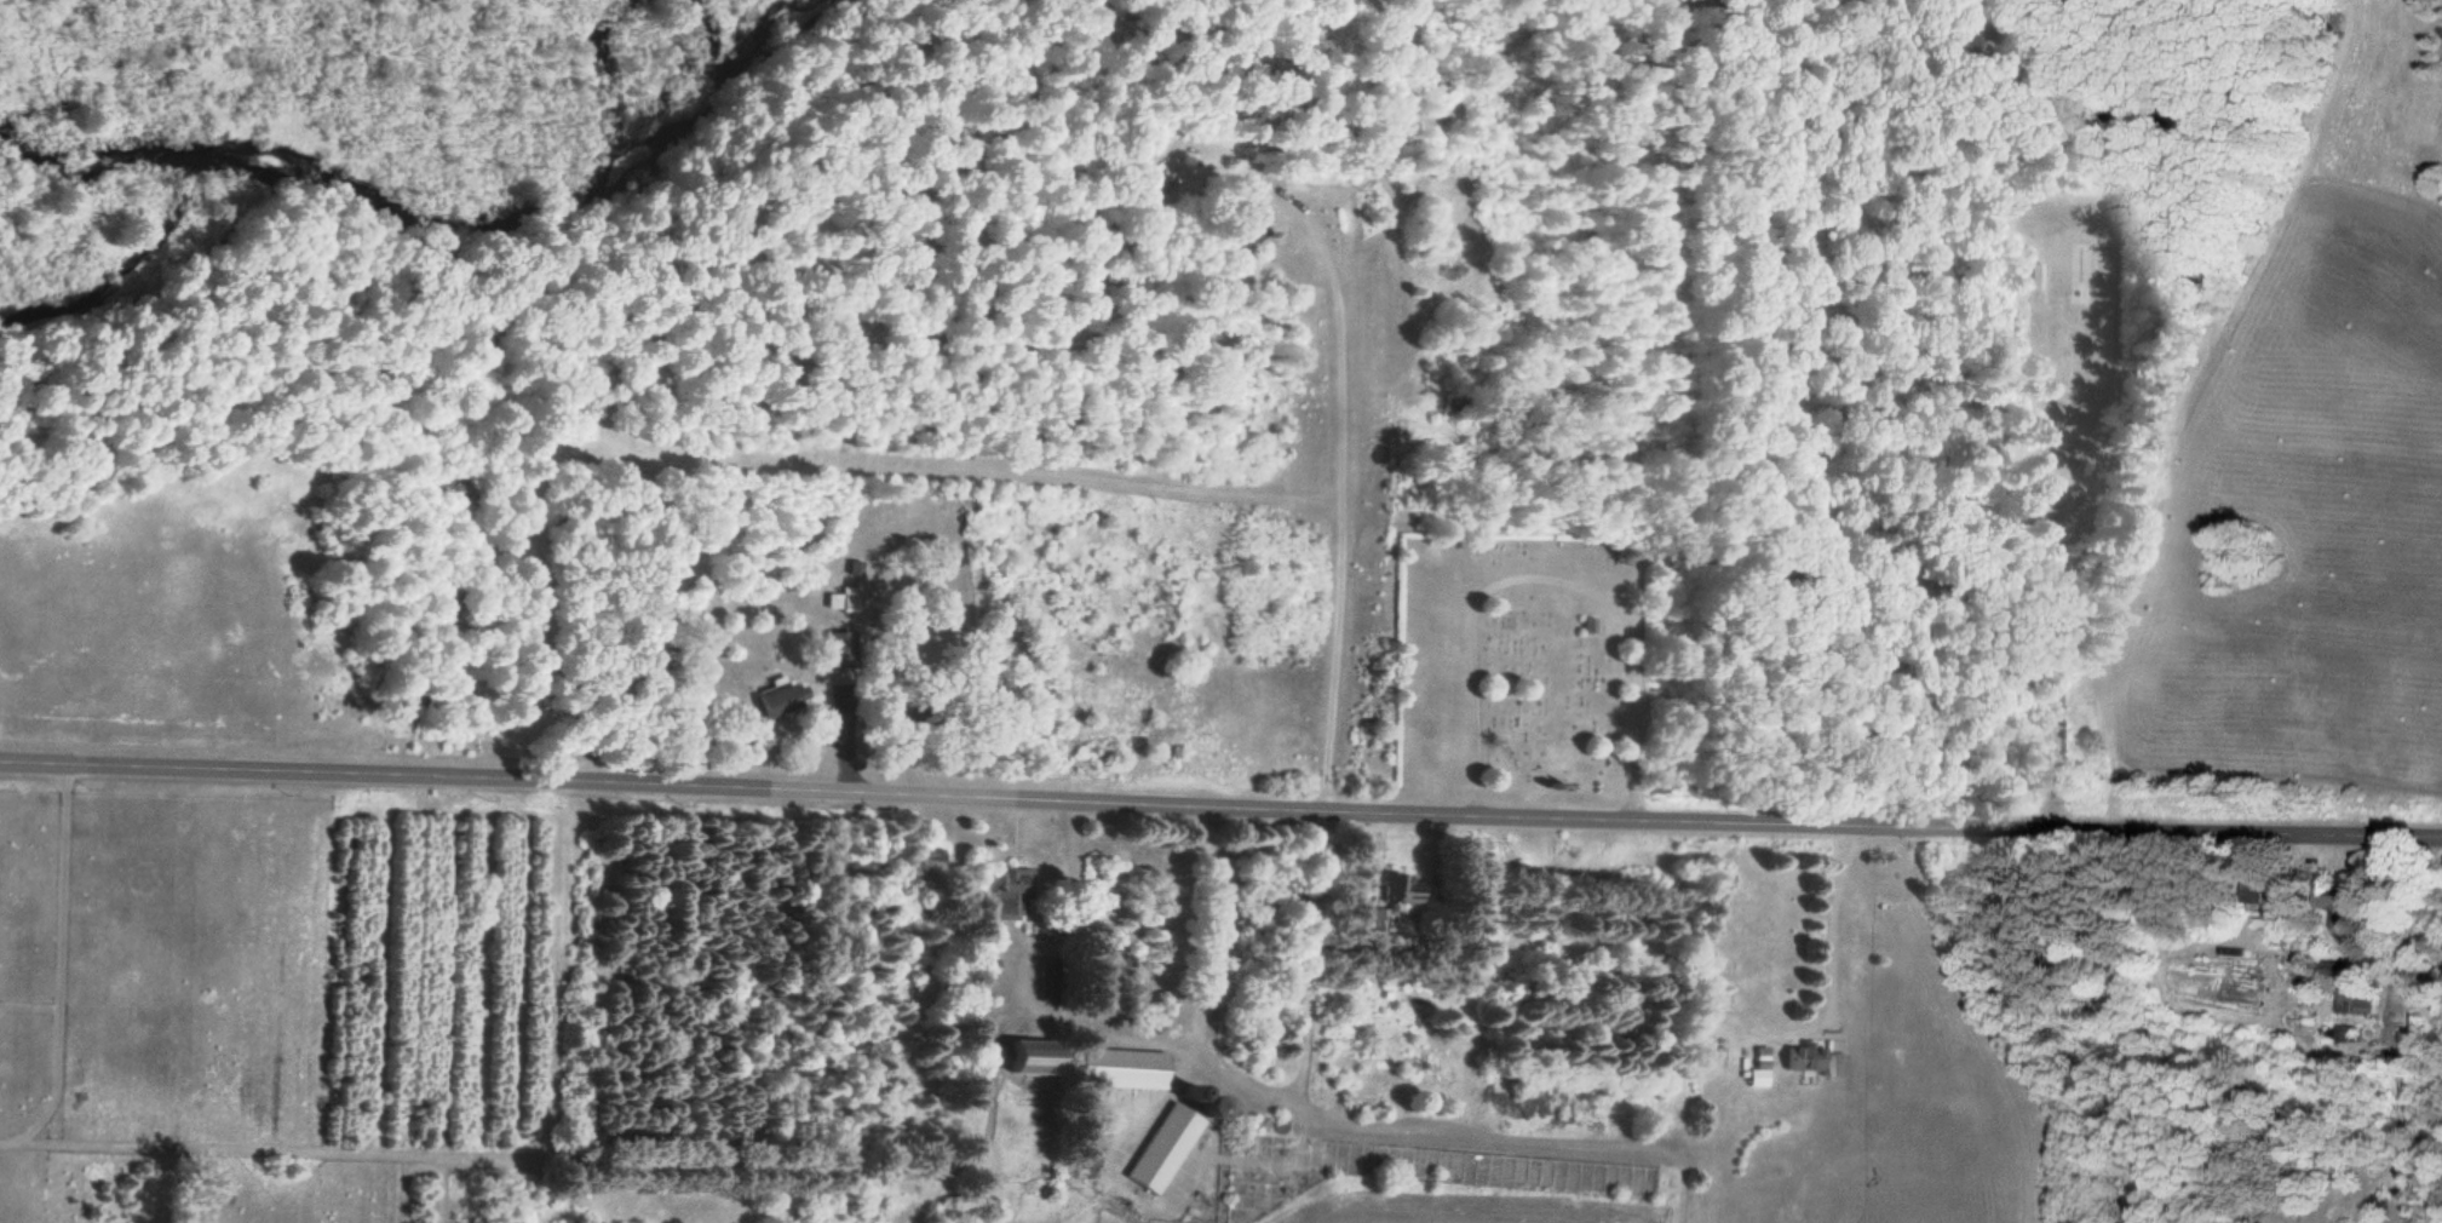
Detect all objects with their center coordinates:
building: (1155, 176)
building: (1245, 229)
road: (1338, 472)
road: (1547, 581)
park: (1532, 666)
building: (772, 702)
road: (39, 759)
road: (1259, 805)
building: (1395, 891)
building: (2254, 891)
building: (2334, 908)
building: (2348, 989)
building: (1012, 1056)
building: (1804, 1061)
building: (1113, 1068)
building: (1159, 1142)

